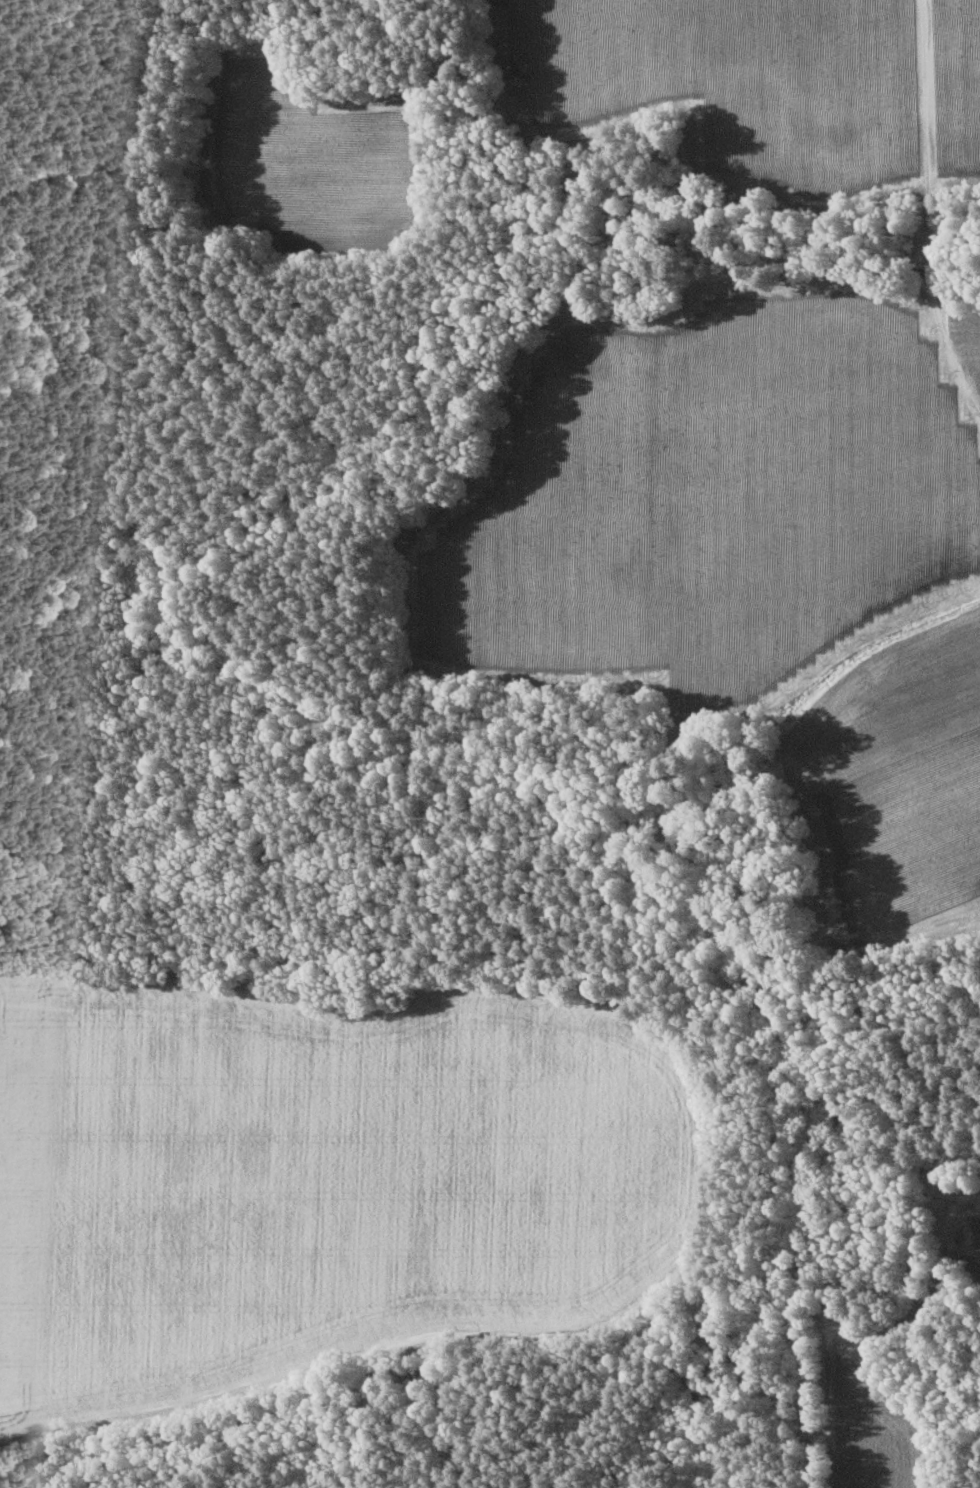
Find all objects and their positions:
crop: (733, 85)
crop: (954, 93)
crop: (309, 159)
road: (929, 216)
crop: (966, 345)
crop: (748, 559)
crop: (323, 1177)
crop: (961, 1231)
road: (210, 1397)
crop: (876, 1416)

